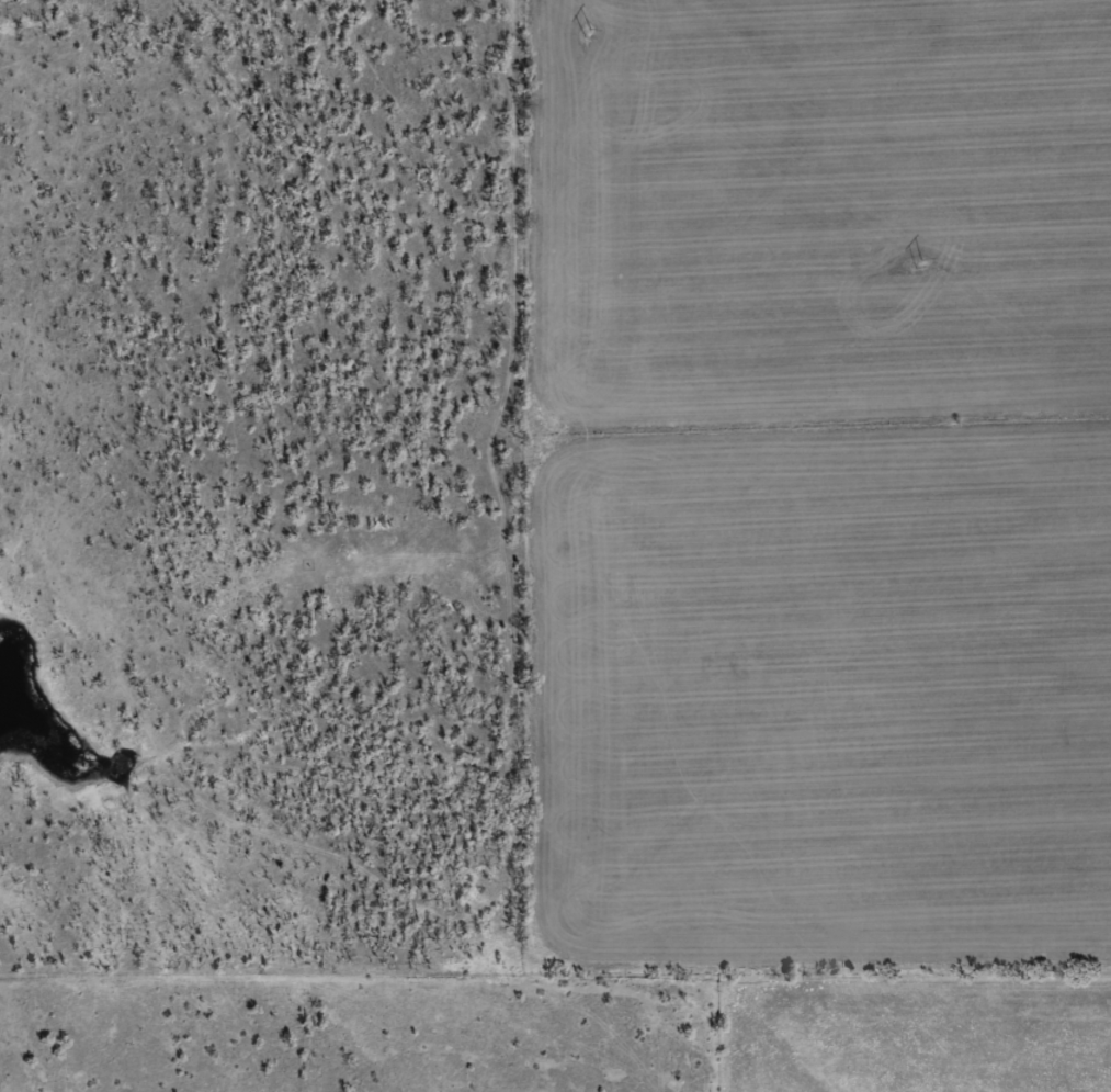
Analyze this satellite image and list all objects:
power tower: (587, 34)
power tower: (914, 263)

